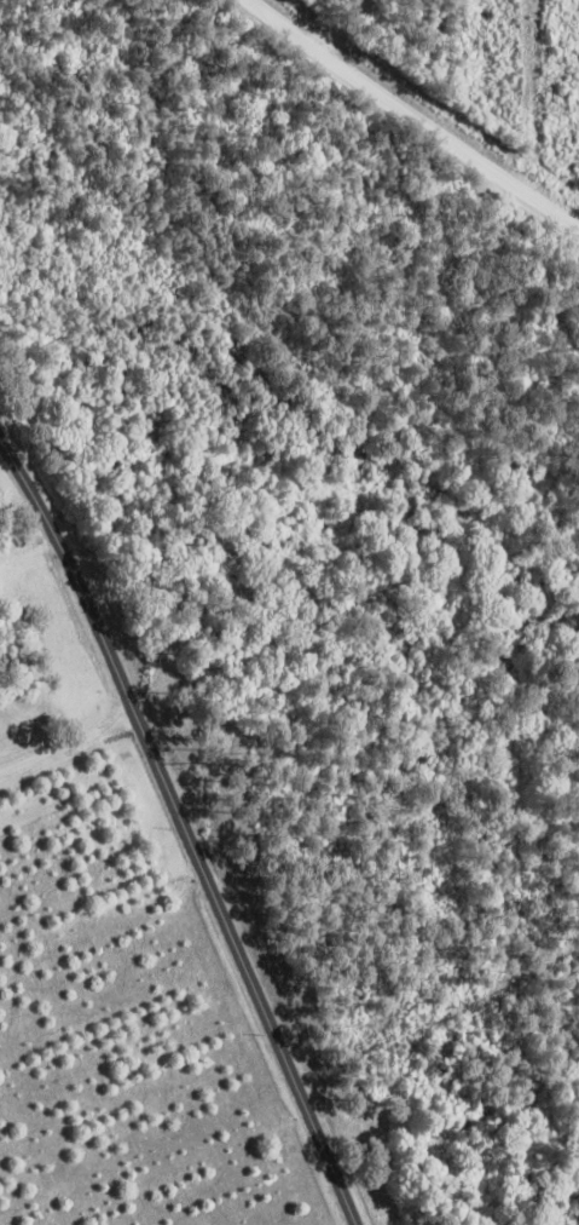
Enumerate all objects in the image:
road: (344, 29)
road: (410, 117)
park: (10, 518)
road: (71, 570)
road: (68, 743)
road: (245, 970)
road: (4, 1215)

